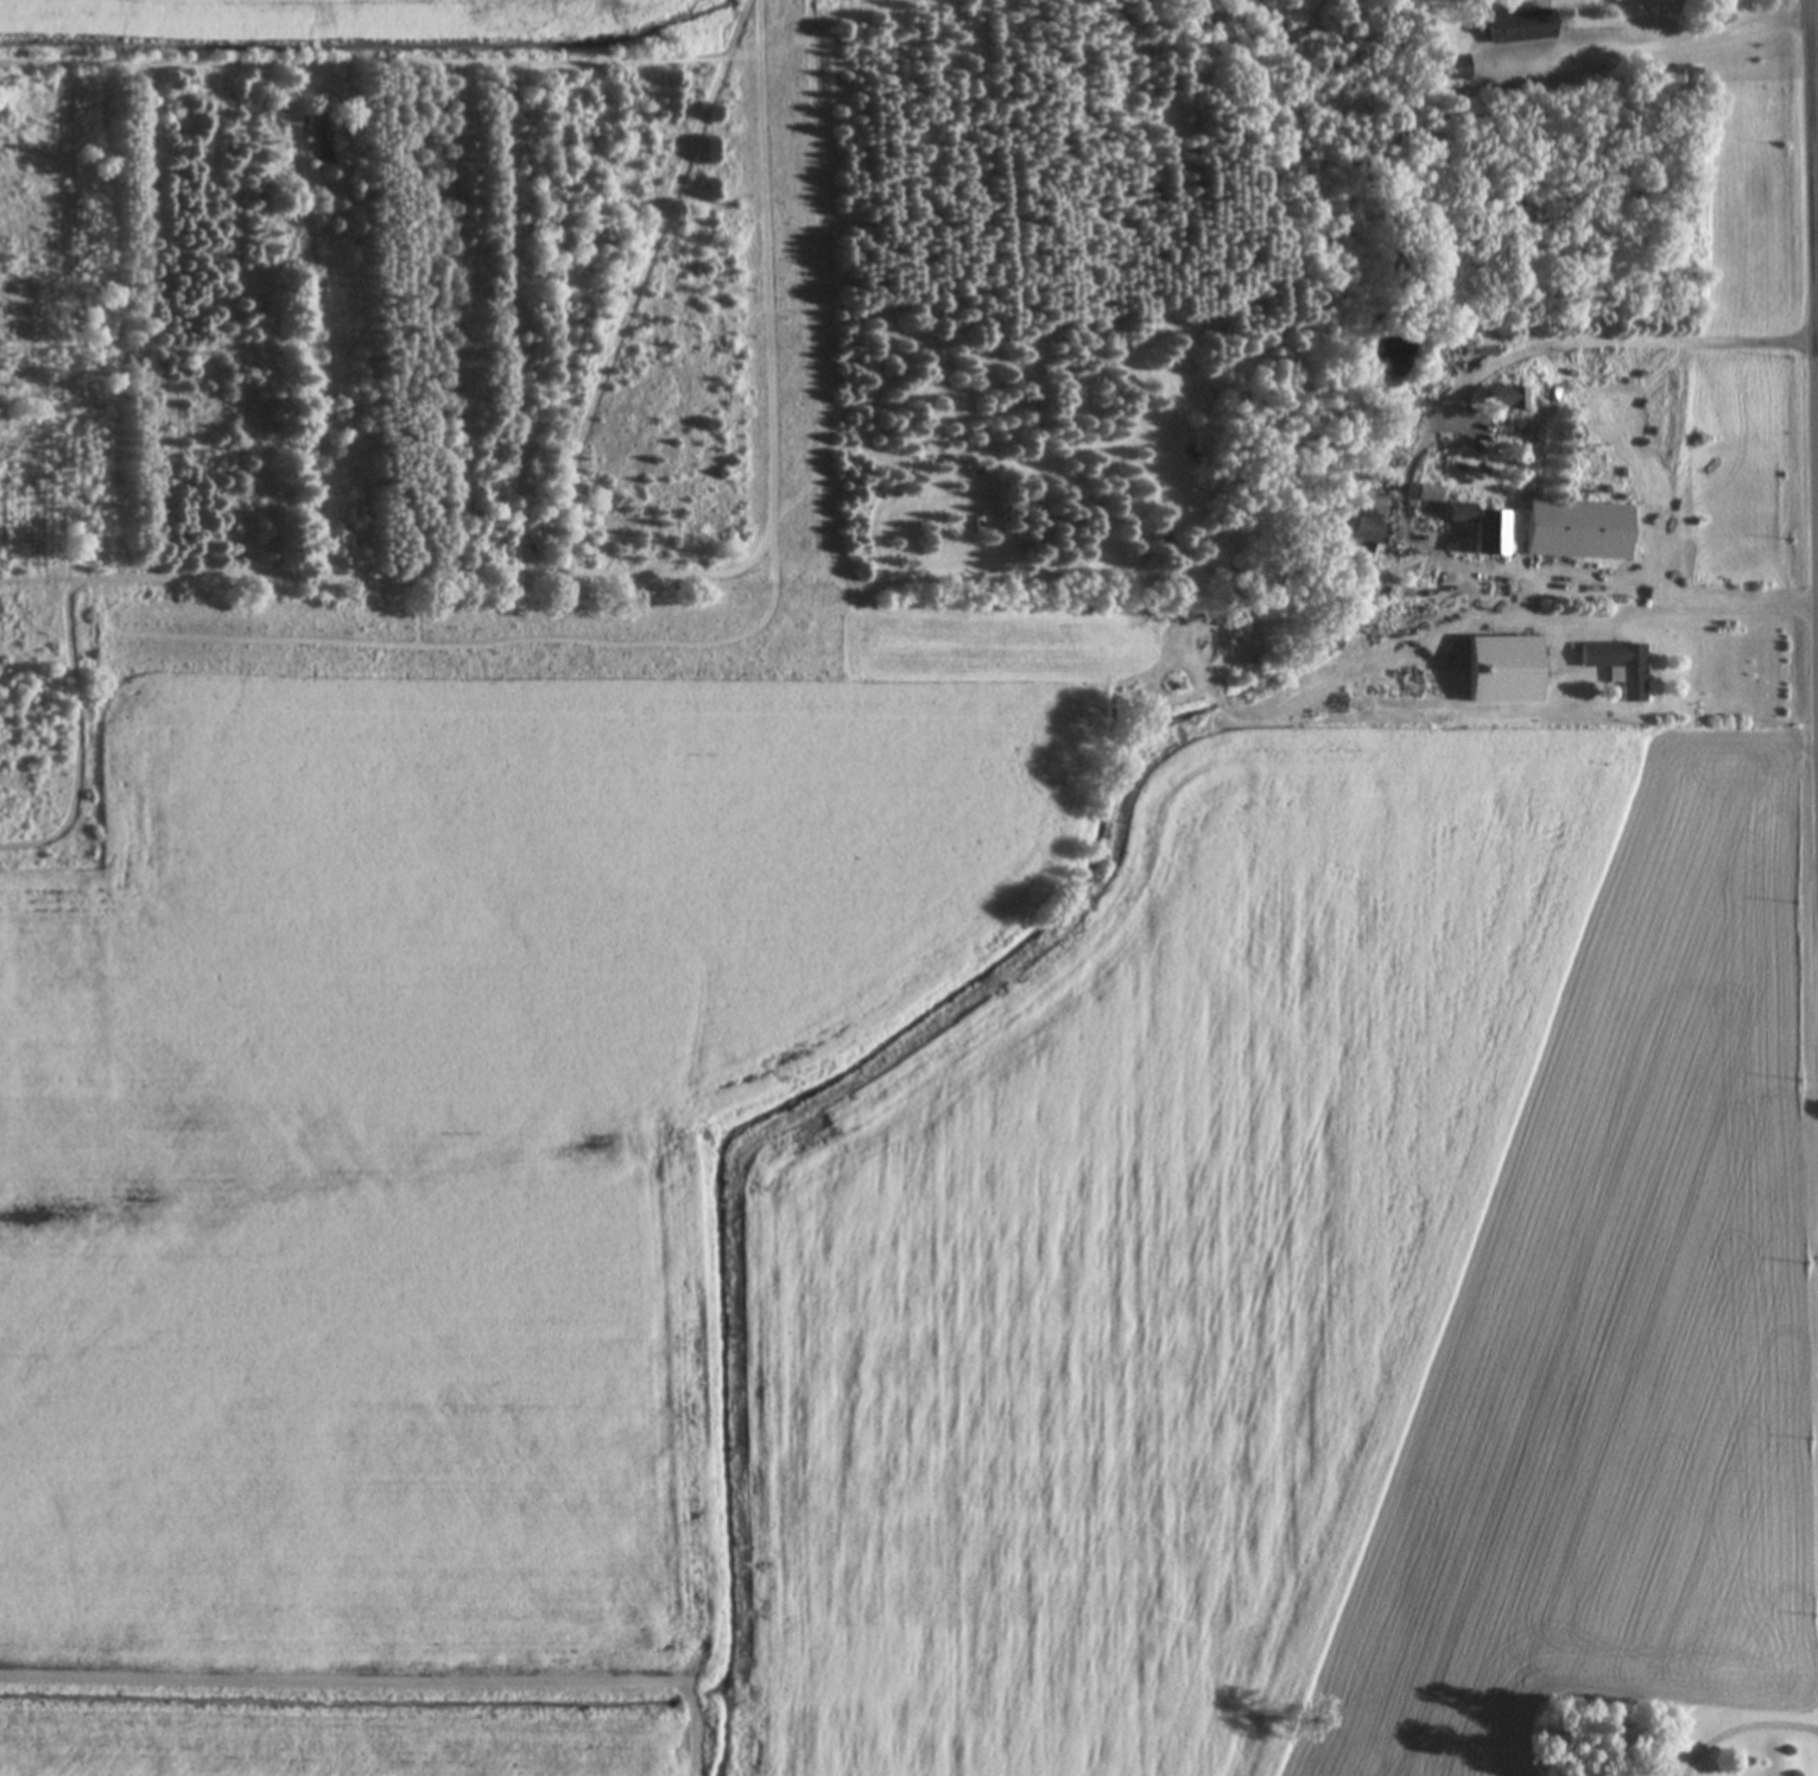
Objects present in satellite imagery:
building: (1522, 26)
road: (1676, 39)
building: (1457, 68)
road: (1814, 145)
airport runway: (794, 292)
road: (1570, 340)
building: (1486, 347)
building: (1507, 399)
building: (1391, 456)
building: (1429, 494)
building: (1372, 524)
building: (1483, 527)
building: (1579, 532)
road: (1711, 609)
road: (1557, 664)
building: (1506, 671)
building: (1635, 674)
building: (1591, 1381)
road: (1738, 1726)

